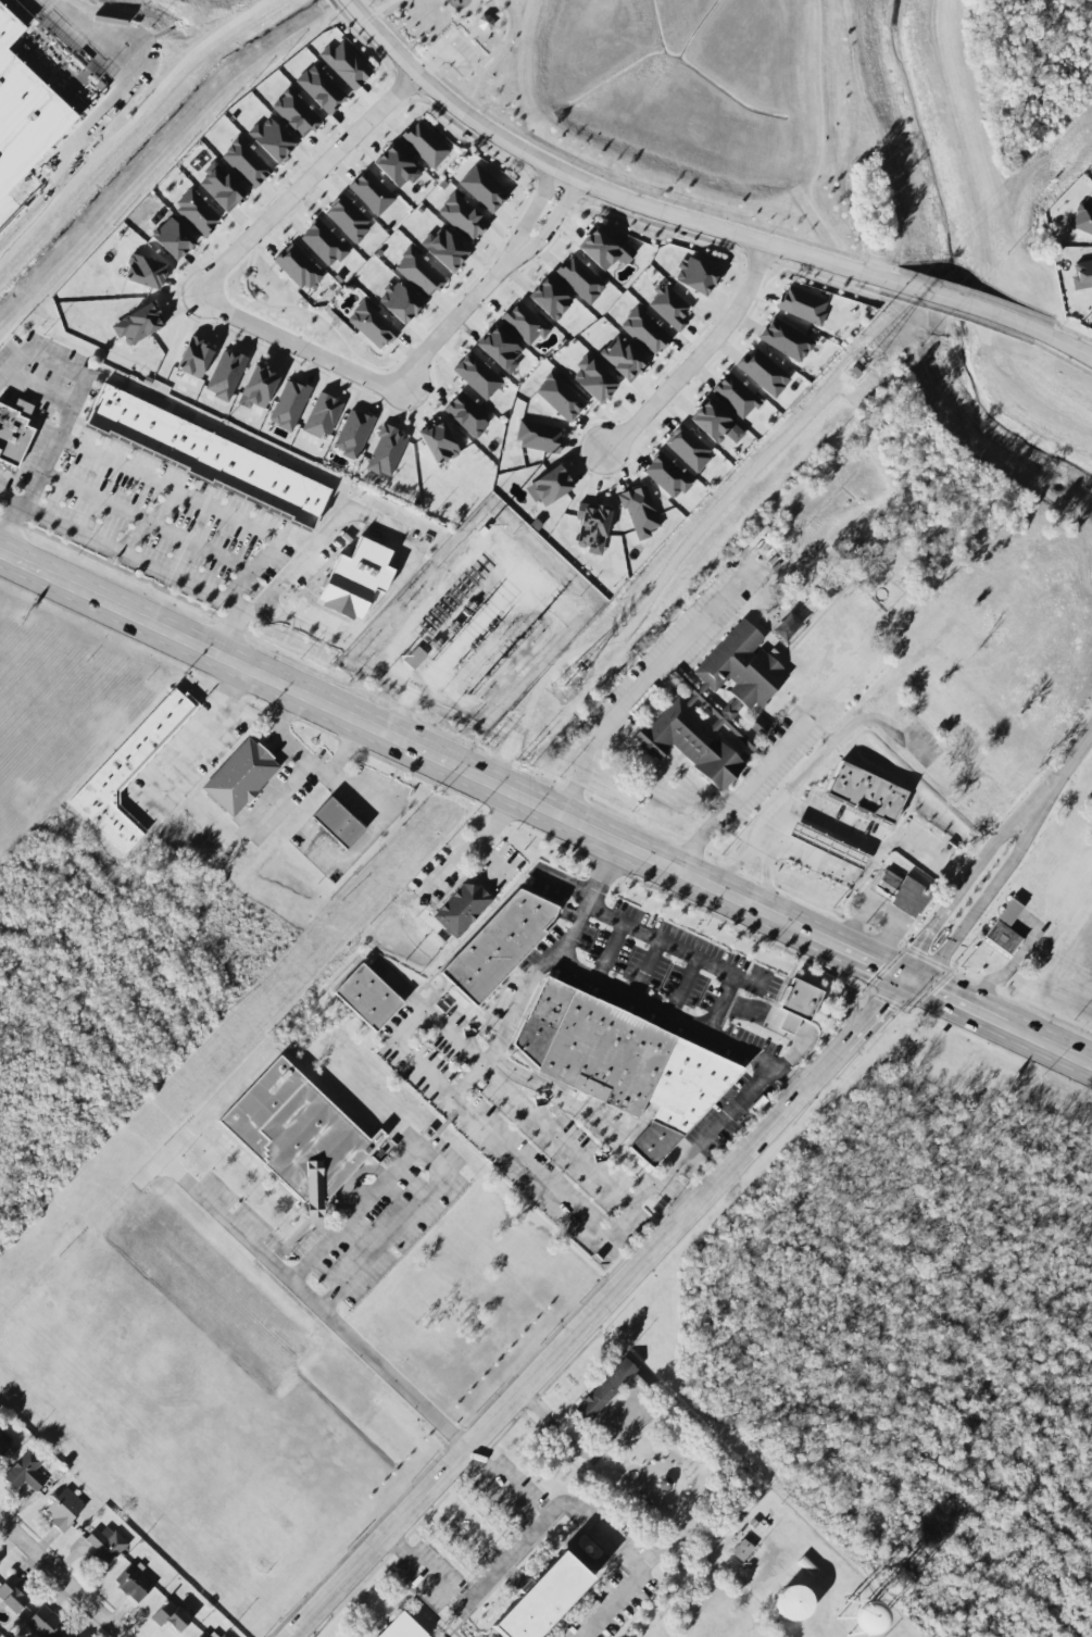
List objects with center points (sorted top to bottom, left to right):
road: (379, 10)
road: (484, 23)
road: (464, 36)
park: (468, 43)
road: (443, 50)
road: (489, 54)
building: (346, 64)
building: (321, 89)
road: (102, 107)
building: (24, 111)
building: (296, 113)
road: (129, 123)
building: (272, 139)
road: (820, 139)
building: (425, 143)
building: (246, 163)
building: (397, 166)
road: (312, 177)
building: (222, 187)
building: (484, 188)
road: (594, 188)
building: (372, 192)
road: (535, 207)
building: (197, 212)
building: (462, 217)
building: (1082, 218)
building: (349, 220)
road: (554, 220)
building: (173, 239)
building: (324, 243)
building: (444, 249)
building: (604, 250)
building: (298, 267)
building: (145, 272)
building: (419, 273)
building: (1082, 275)
building: (695, 276)
building: (580, 279)
building: (550, 299)
building: (400, 302)
road: (969, 304)
building: (803, 305)
building: (669, 307)
road: (460, 315)
building: (525, 323)
building: (138, 324)
building: (372, 325)
building: (644, 332)
building: (786, 340)
road: (296, 345)
road: (1068, 345)
building: (500, 349)
building: (196, 358)
road: (699, 358)
power tower: (870, 358)
building: (623, 360)
building: (763, 372)
building: (225, 375)
building: (477, 375)
road: (88, 378)
building: (594, 379)
building: (258, 388)
road: (36, 391)
building: (736, 396)
building: (560, 397)
building: (289, 404)
building: (323, 415)
building: (467, 415)
building: (715, 424)
building: (14, 432)
building: (353, 434)
building: (538, 436)
building: (438, 442)
road: (53, 443)
building: (689, 449)
building: (386, 451)
building: (206, 457)
building: (667, 476)
building: (550, 486)
road: (203, 505)
building: (640, 512)
road: (145, 523)
road: (147, 523)
building: (592, 527)
road: (12, 532)
road: (413, 546)
road: (129, 559)
building: (356, 578)
power substation: (476, 620)
road: (229, 633)
building: (416, 660)
power tower: (564, 685)
road: (640, 686)
building: (677, 707)
road: (202, 738)
road: (305, 760)
building: (126, 774)
building: (240, 778)
road: (1055, 782)
road: (739, 792)
building: (995, 792)
building: (867, 793)
road: (545, 810)
building: (339, 824)
road: (856, 839)
building: (829, 847)
road: (469, 849)
road: (492, 863)
road: (828, 865)
road: (735, 869)
road: (763, 880)
road: (564, 882)
building: (887, 885)
building: (911, 897)
road: (954, 898)
road: (588, 902)
building: (463, 910)
road: (974, 913)
building: (1005, 928)
building: (499, 945)
road: (674, 947)
road: (608, 951)
road: (645, 969)
traffic signals: (906, 982)
road: (682, 986)
road: (848, 996)
building: (369, 998)
road: (718, 1004)
building: (798, 1004)
road: (683, 1022)
road: (504, 1028)
building: (624, 1065)
road: (503, 1086)
road: (580, 1112)
road: (474, 1126)
building: (300, 1135)
road: (686, 1155)
road: (436, 1159)
road: (675, 1195)
road: (598, 1308)
road: (323, 1314)
building: (606, 1389)
building: (3, 1446)
road: (577, 1448)
building: (25, 1472)
road: (504, 1485)
building: (64, 1510)
road: (543, 1519)
building: (105, 1547)
building: (742, 1550)
building: (0, 1565)
road: (61, 1578)
building: (134, 1583)
building: (12, 1595)
building: (562, 1602)
building: (794, 1603)
building: (172, 1616)
building: (46, 1623)
building: (401, 1628)
building: (203, 1635)
building: (224, 1636)

